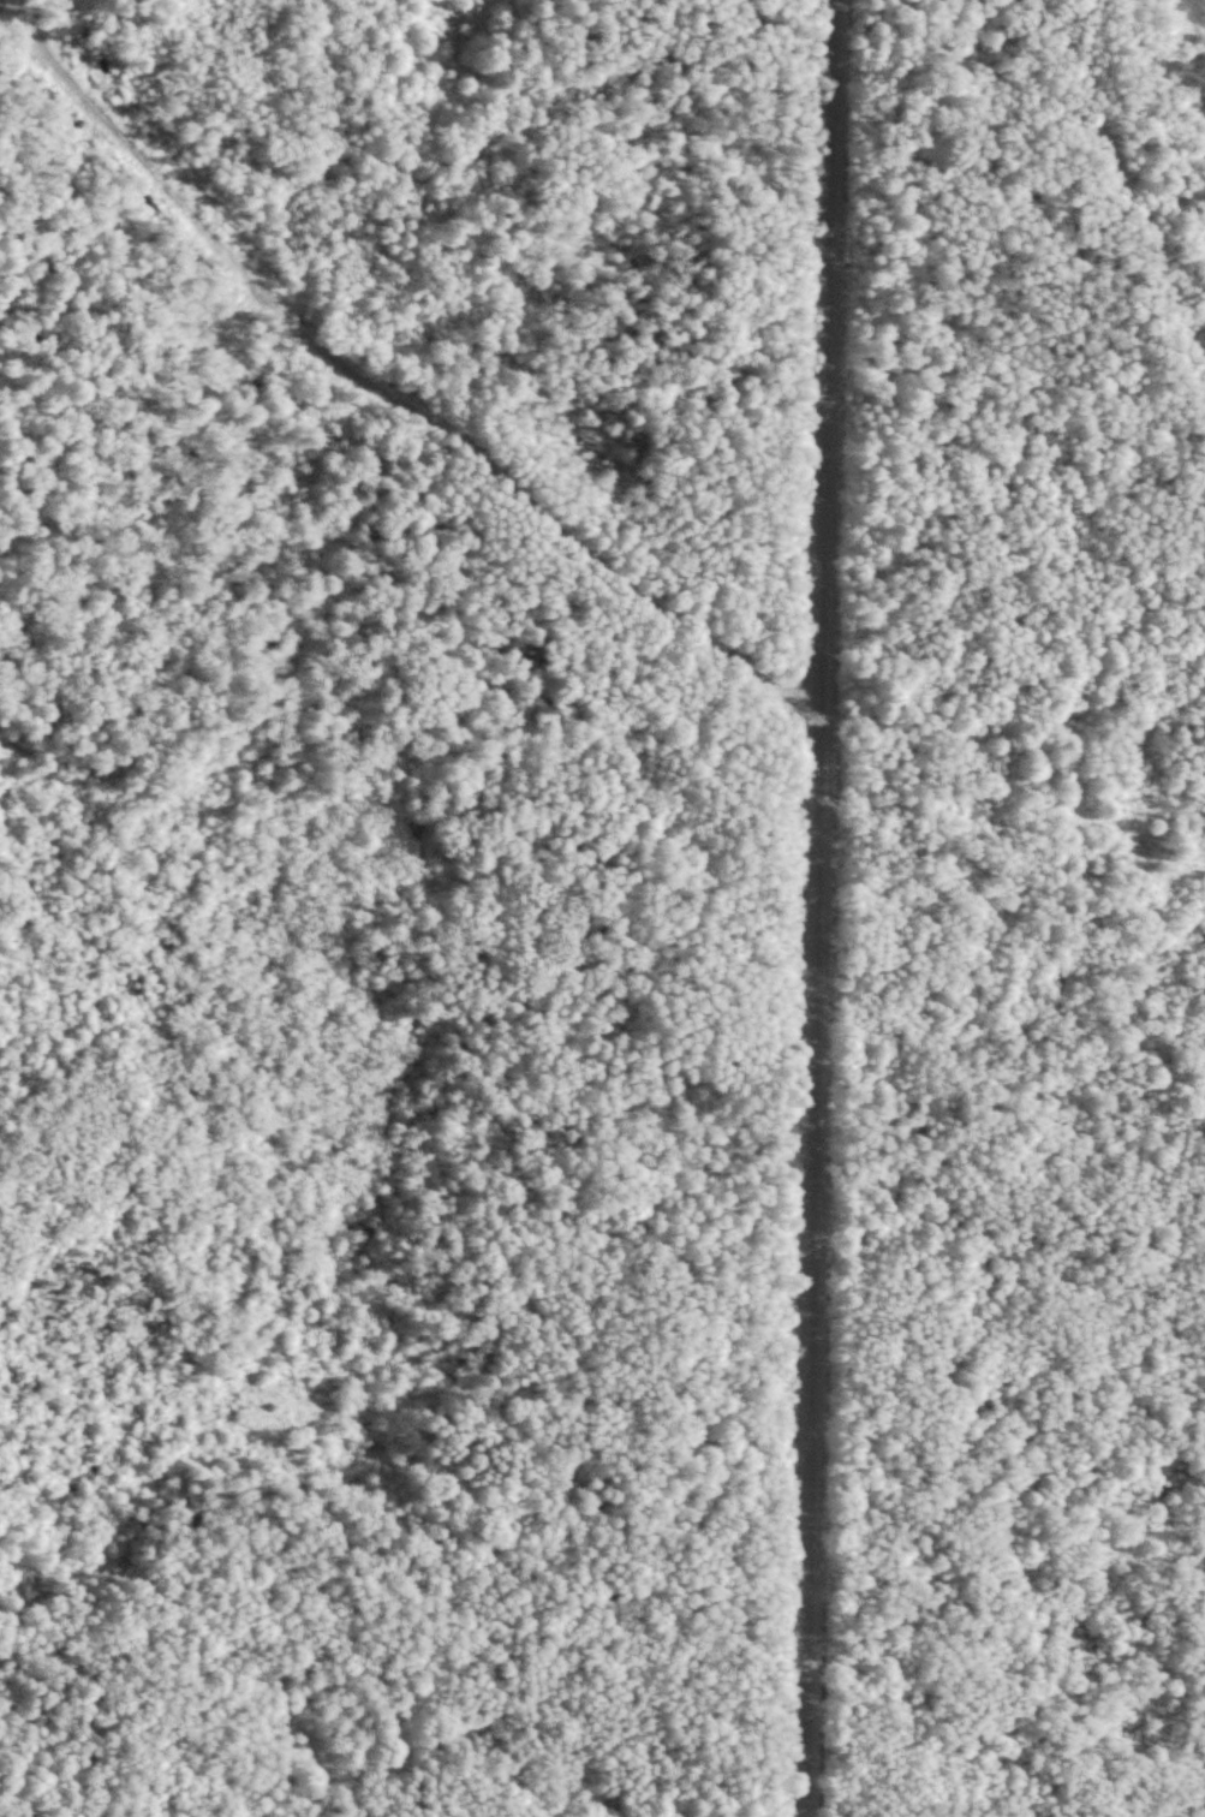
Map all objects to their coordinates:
road: (404, 376)
road: (827, 908)

